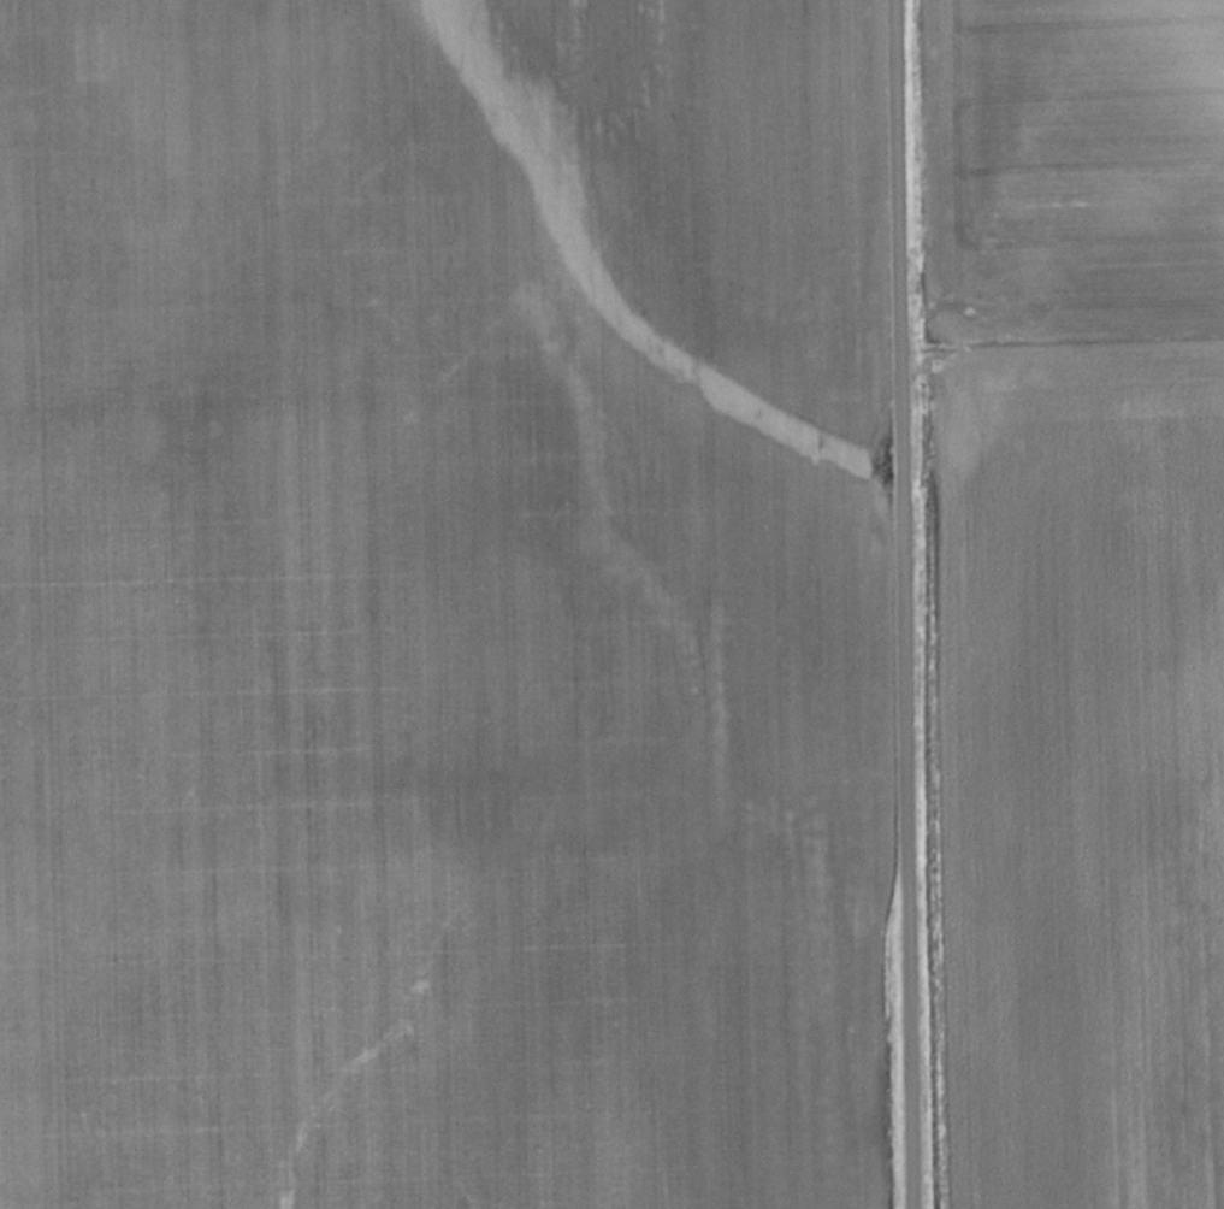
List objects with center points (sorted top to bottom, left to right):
road: (912, 604)

